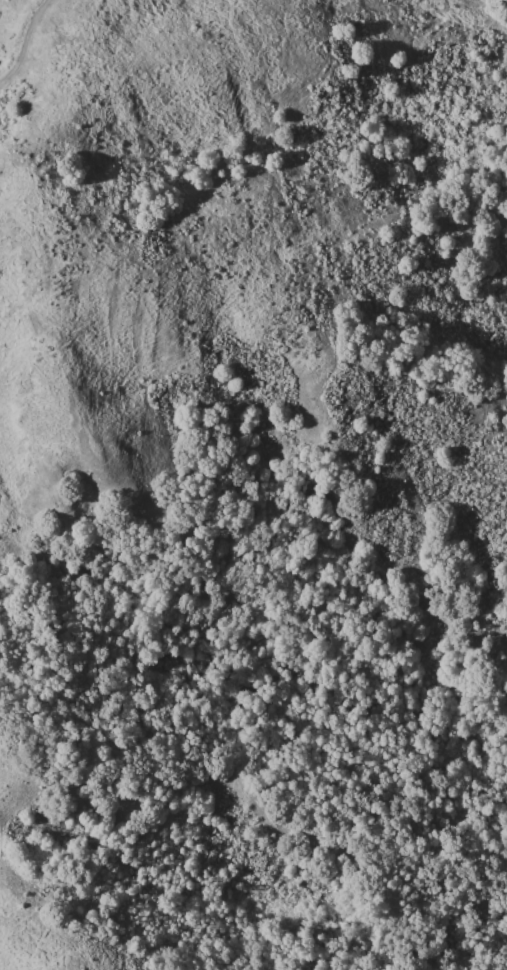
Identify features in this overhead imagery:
road: (23, 40)

